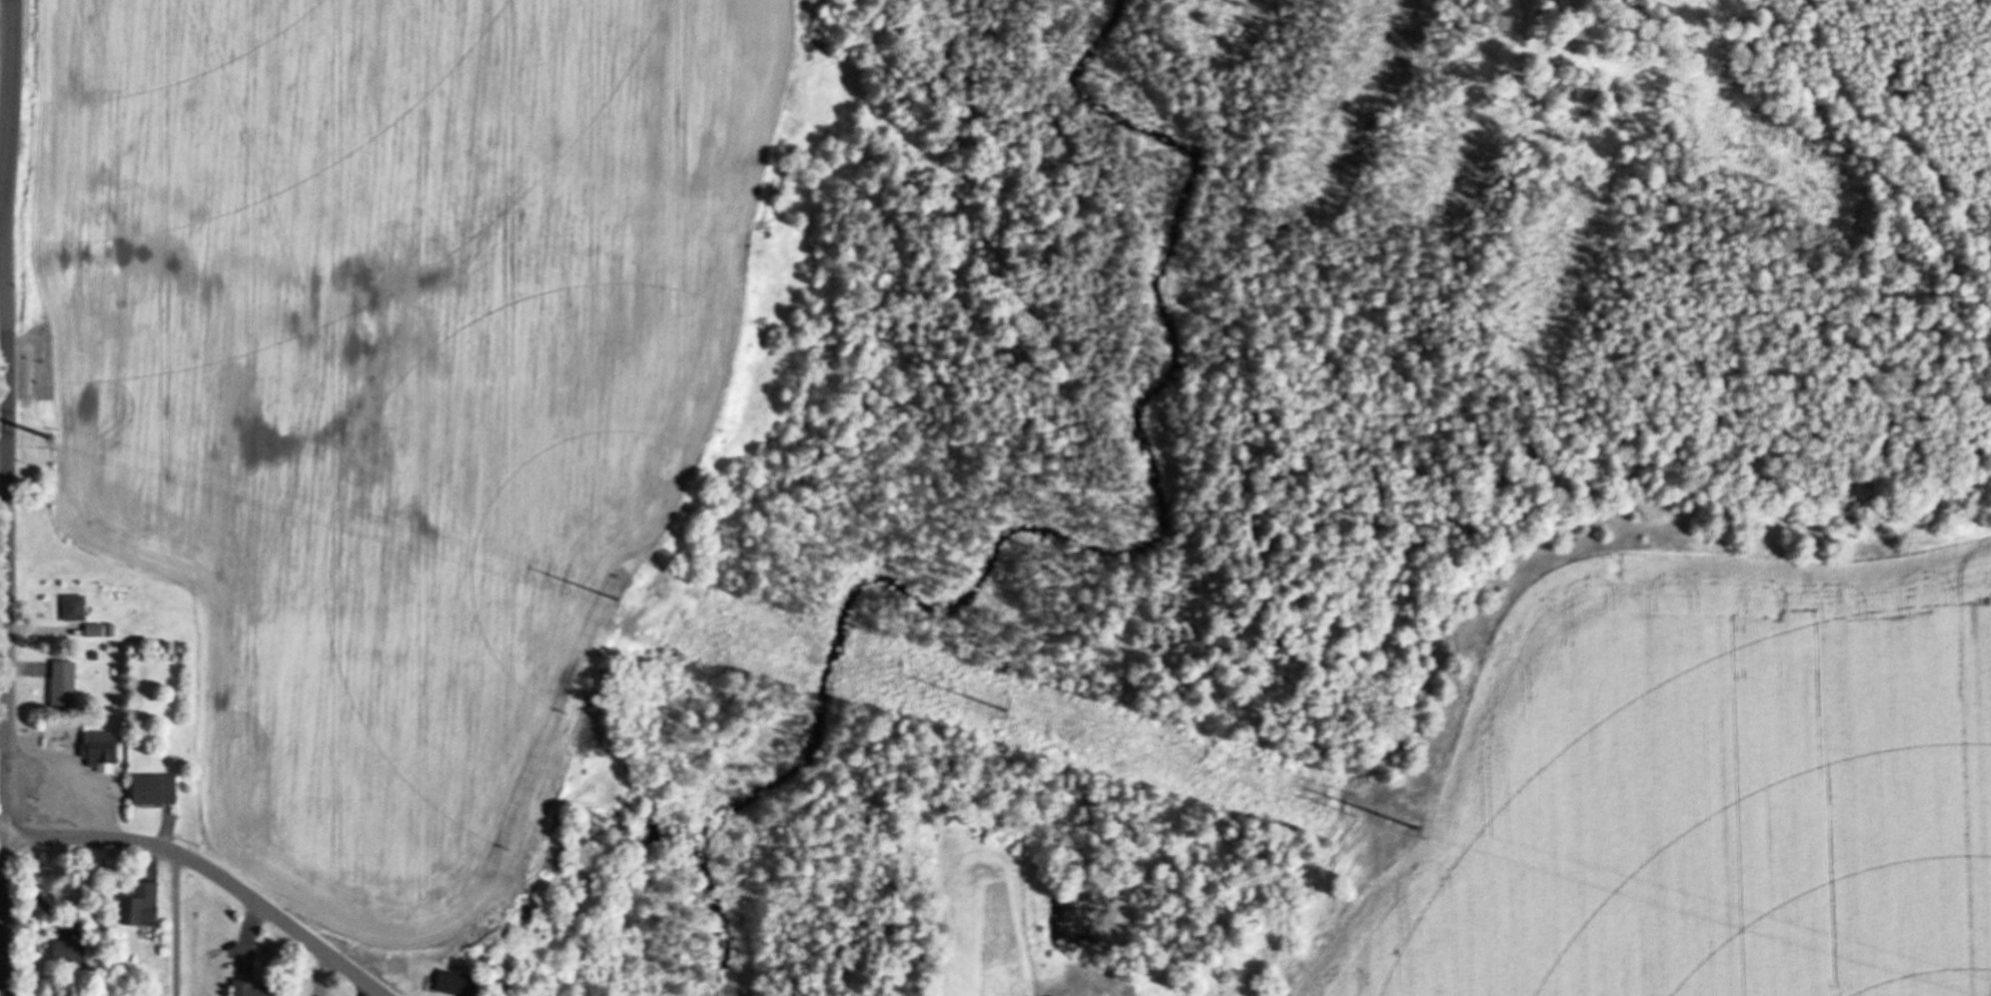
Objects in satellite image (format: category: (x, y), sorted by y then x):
park: (5, 81)
road: (10, 99)
power tower: (48, 437)
road: (3, 455)
road: (6, 573)
power tower: (614, 600)
building: (71, 607)
building: (61, 683)
power tower: (1002, 707)
building: (97, 751)
building: (151, 789)
power tower: (1415, 826)
road: (211, 871)
building: (137, 906)
building: (66, 954)
building: (453, 983)
building: (252, 988)
building: (129, 995)

